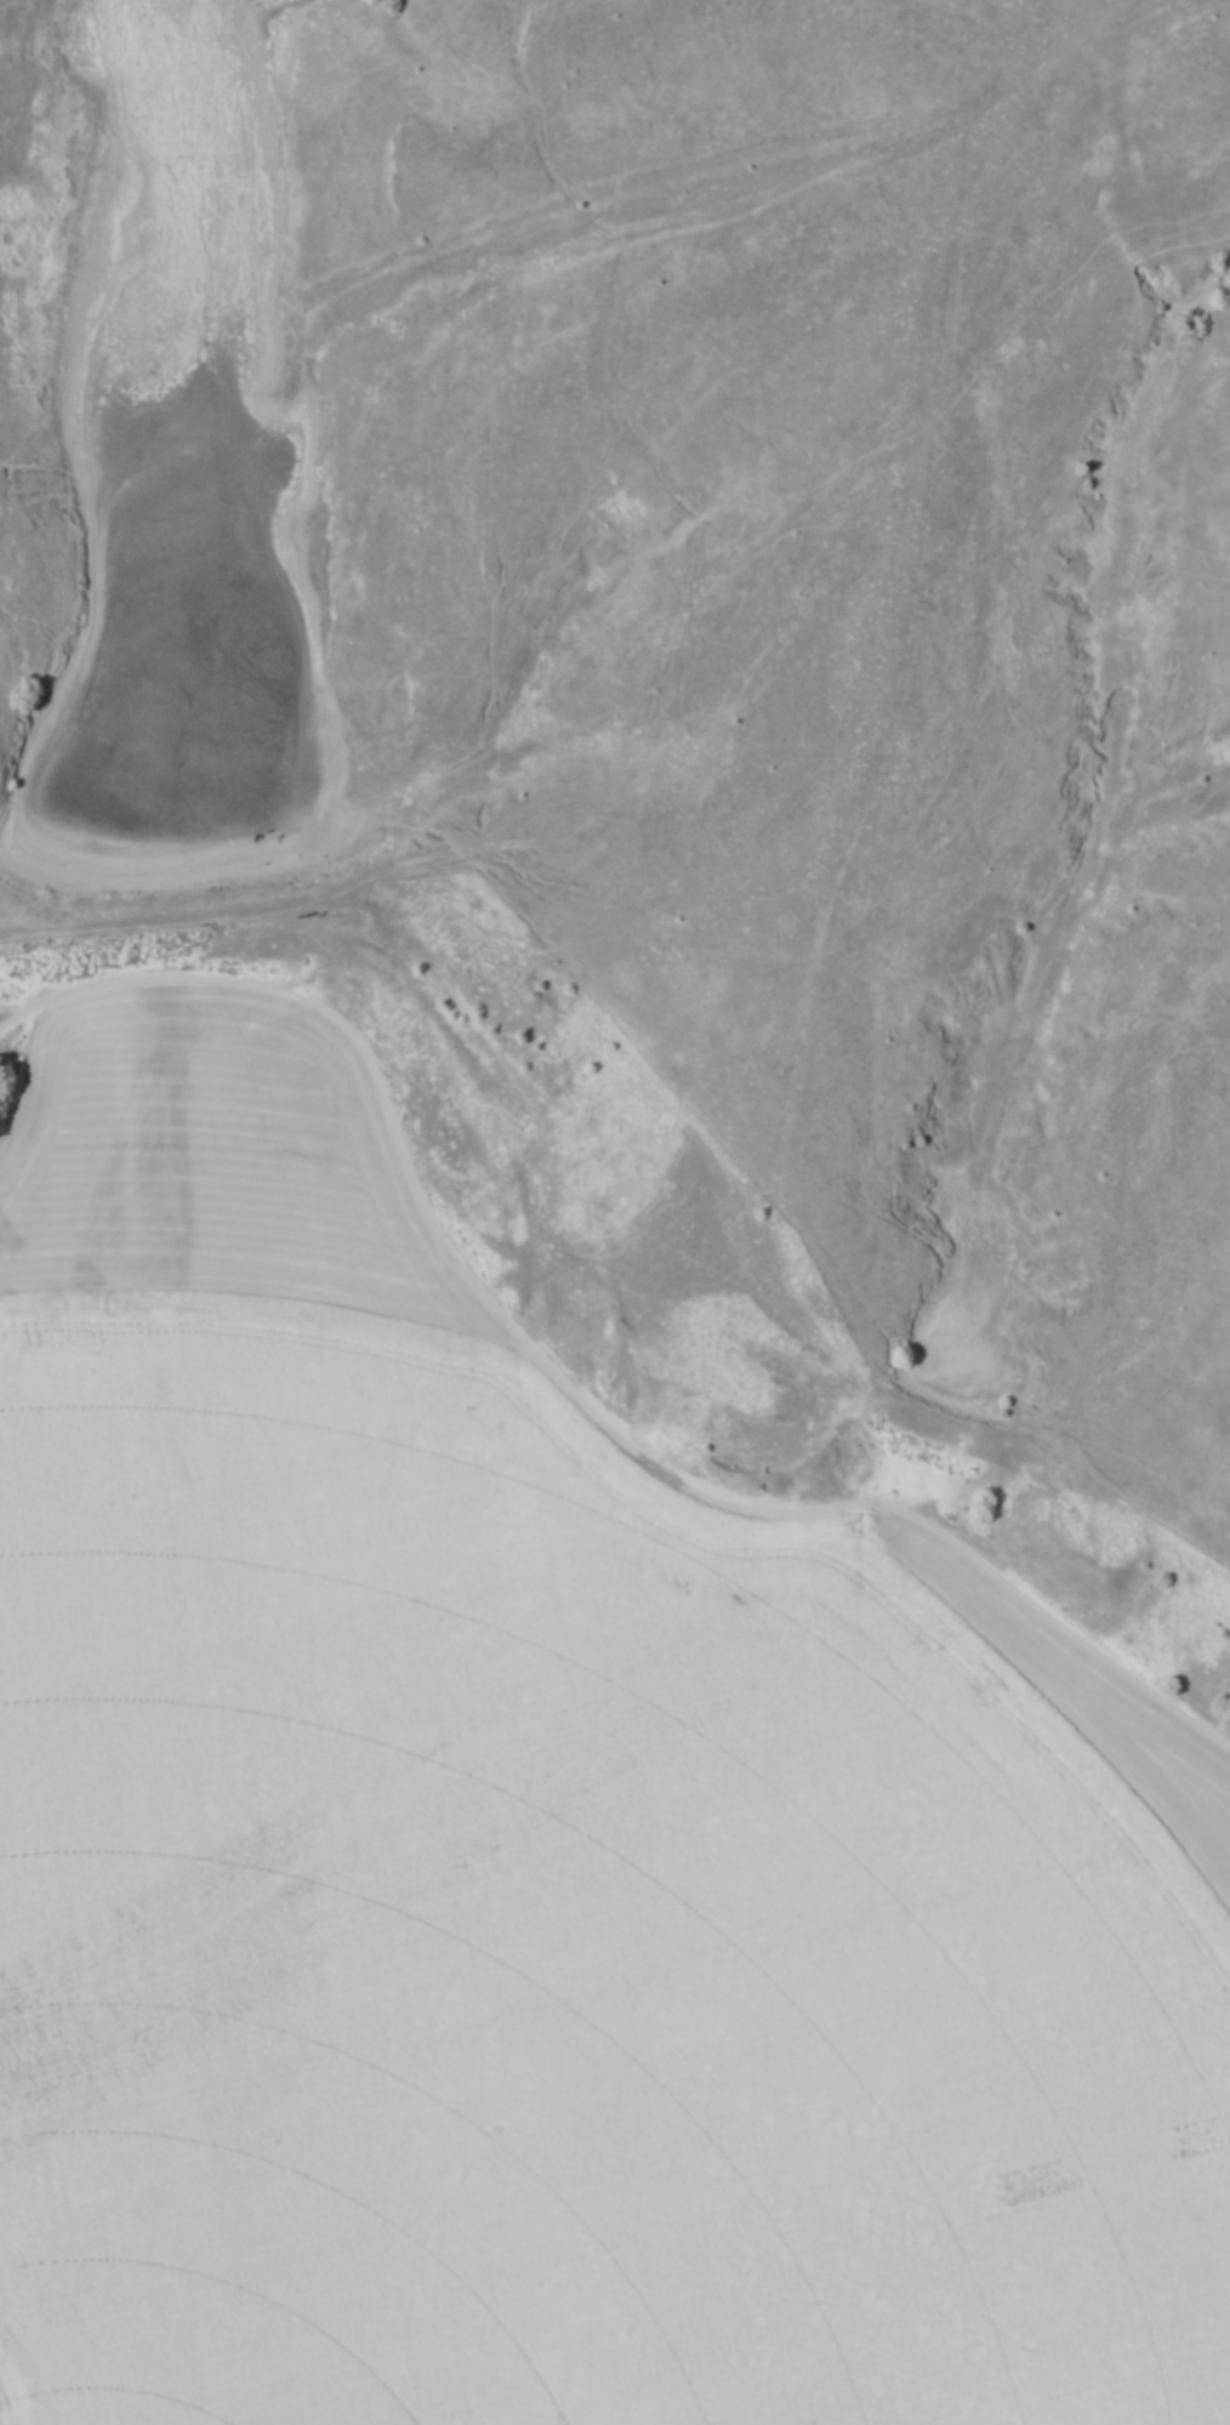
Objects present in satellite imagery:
crop: (1081, 1695)
crop: (552, 1932)

